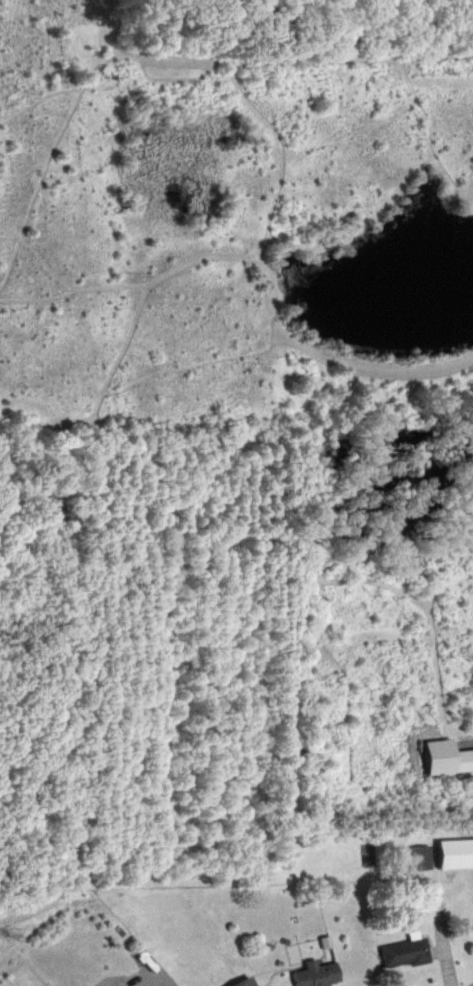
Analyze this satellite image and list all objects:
building: (459, 759)
building: (451, 852)
building: (416, 856)
building: (319, 940)
building: (398, 952)
building: (309, 973)
building: (235, 982)

